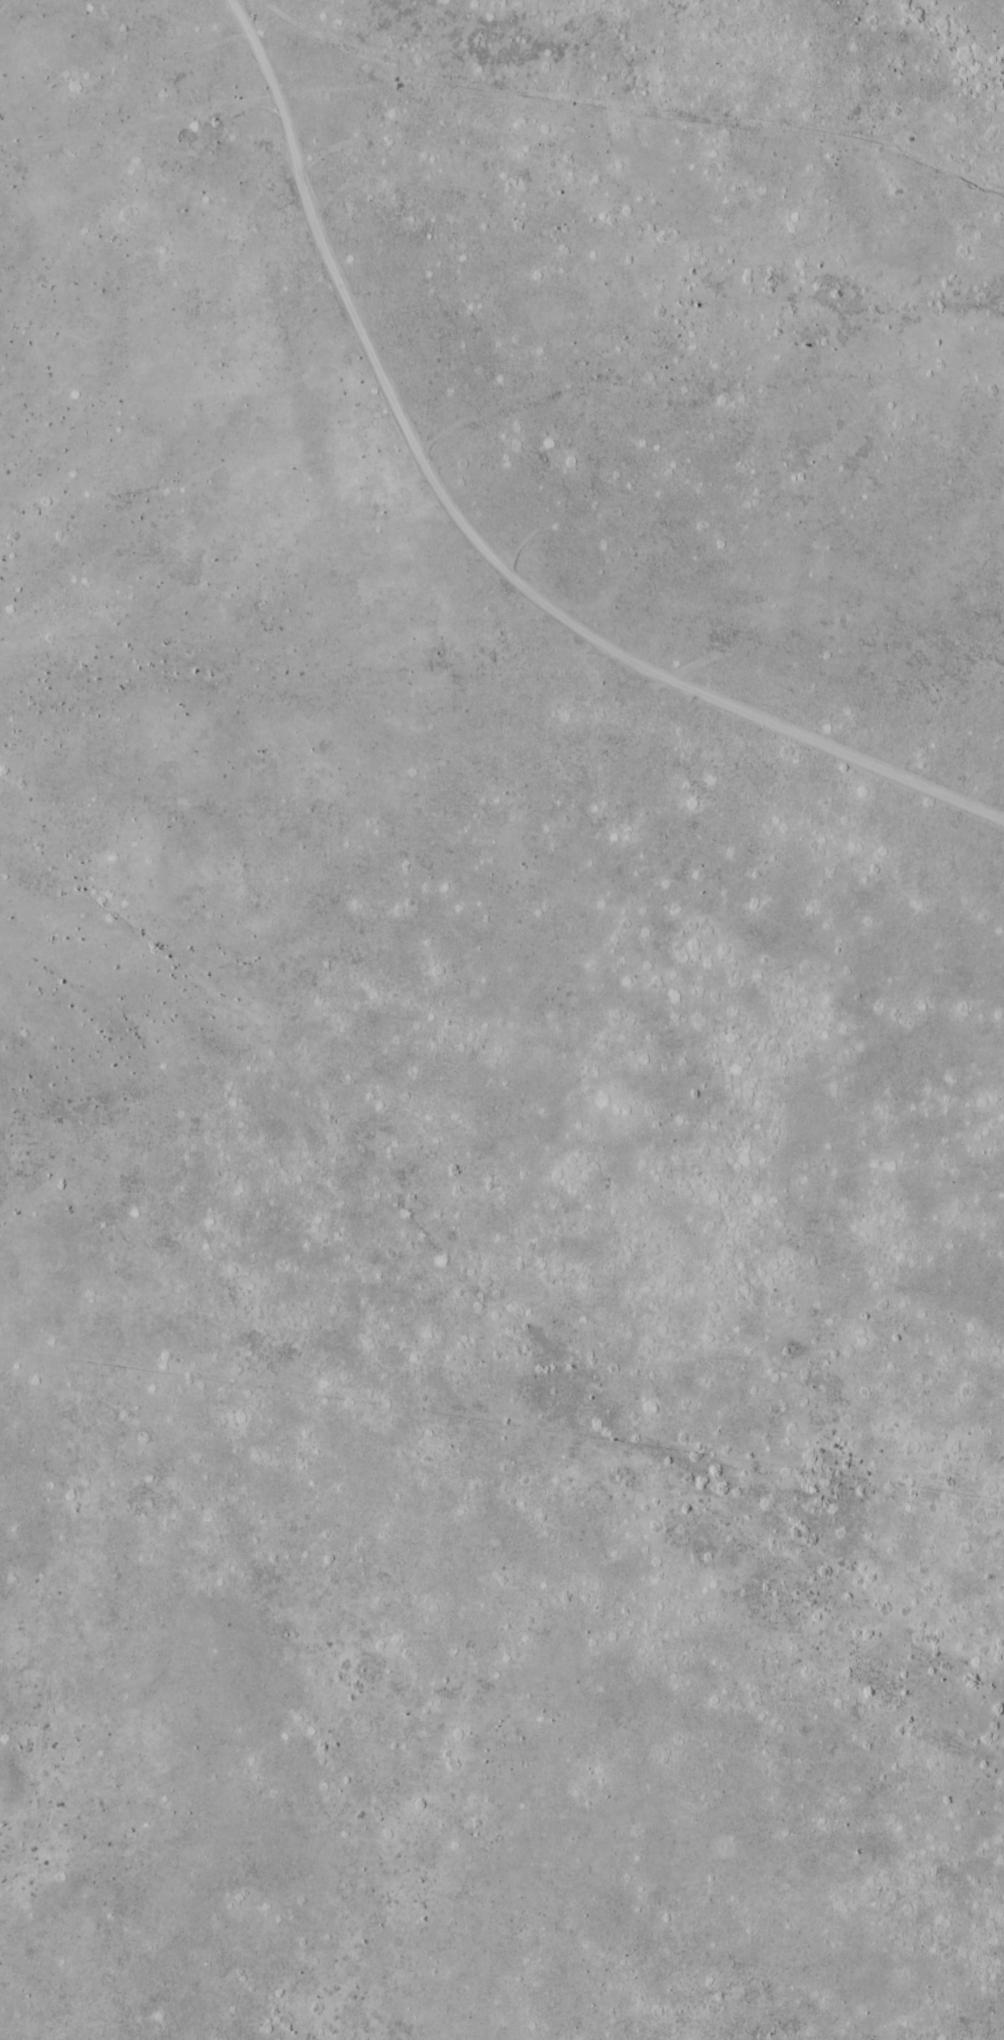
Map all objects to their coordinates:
road: (705, 74)

